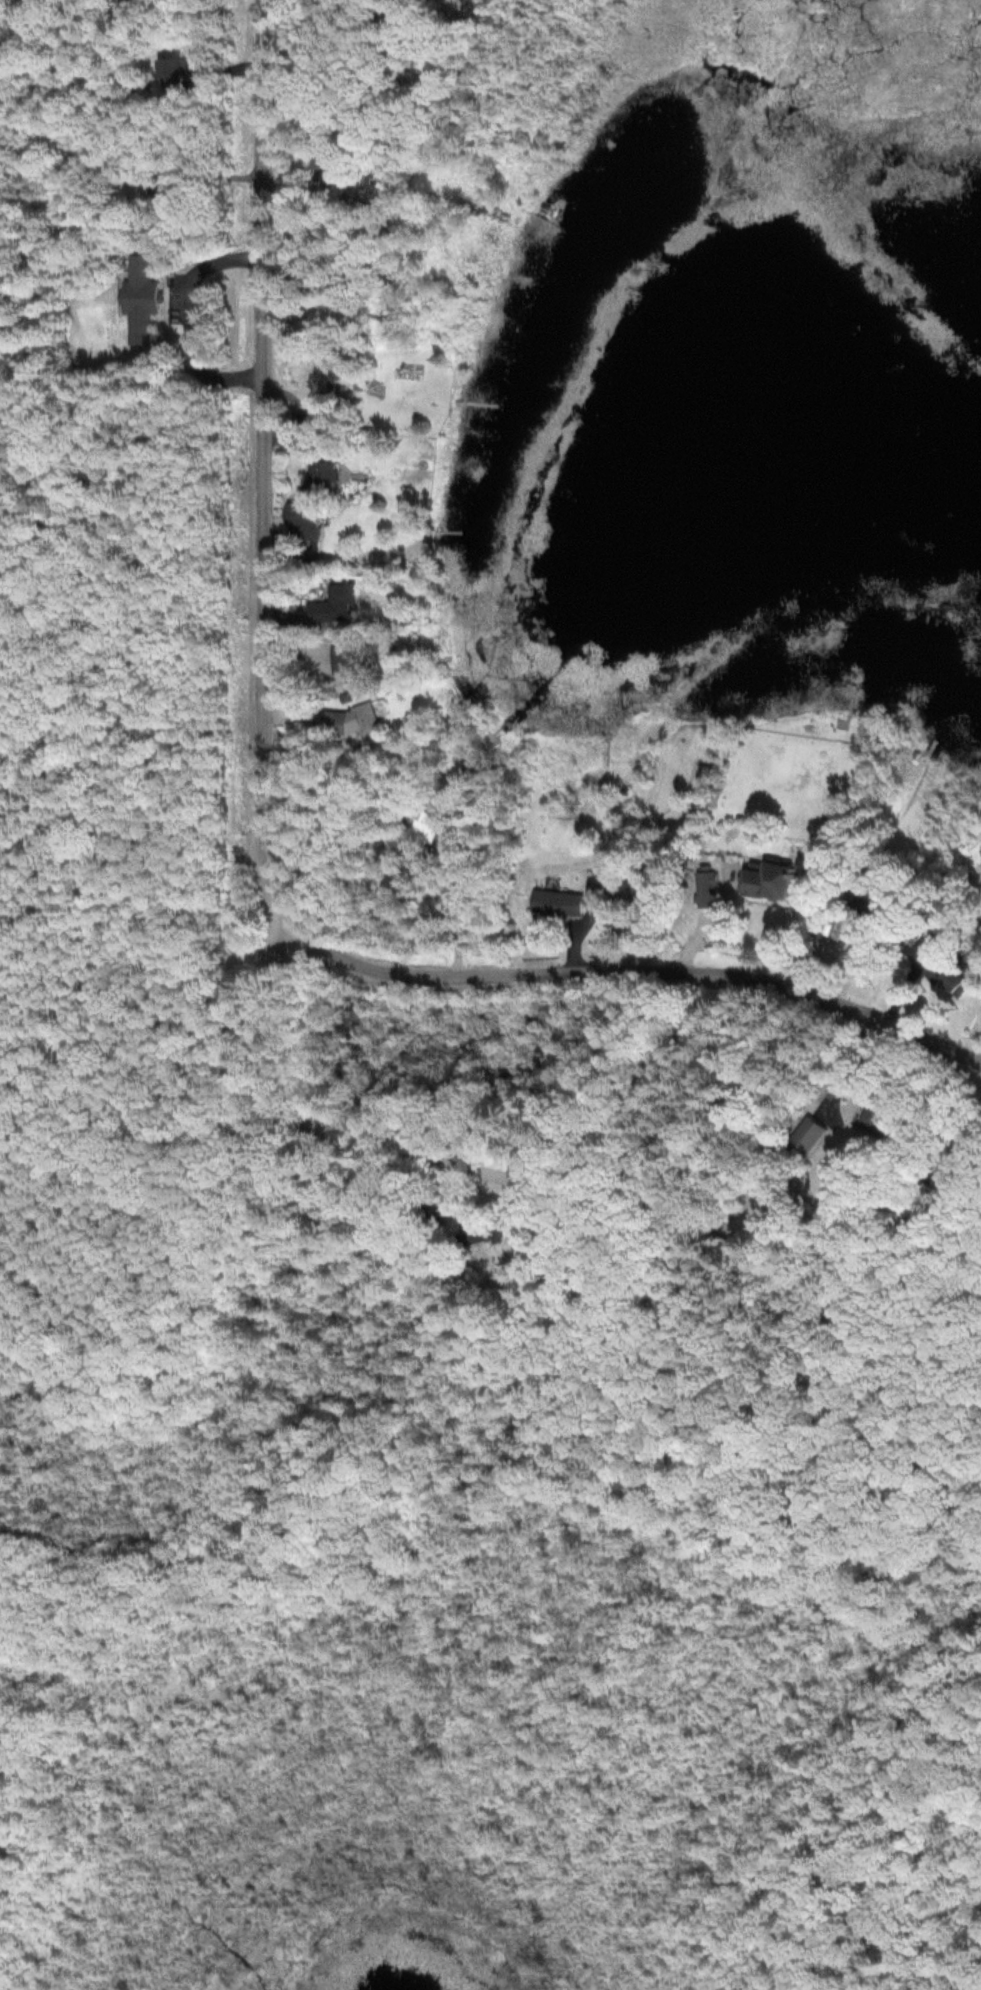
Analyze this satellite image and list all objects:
building: (172, 73)
building: (140, 298)
building: (326, 332)
building: (336, 379)
building: (318, 405)
building: (318, 477)
building: (301, 521)
building: (331, 605)
building: (338, 660)
building: (346, 720)
road: (264, 824)
building: (424, 828)
building: (766, 880)
building: (707, 891)
building: (567, 900)
building: (954, 973)
building: (980, 1014)
building: (877, 1122)
building: (806, 1138)
road: (151, 1172)
road: (550, 1184)
building: (485, 1229)

